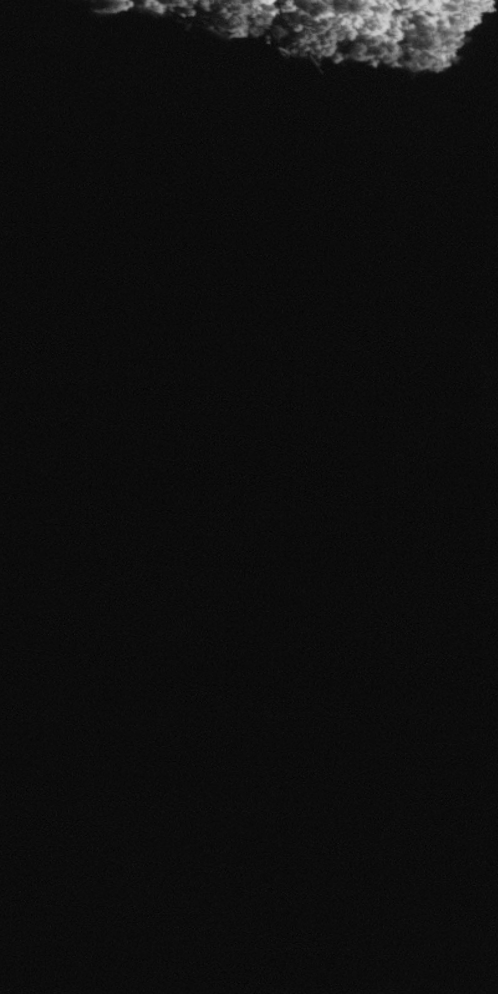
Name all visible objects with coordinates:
river: (249, 331)

